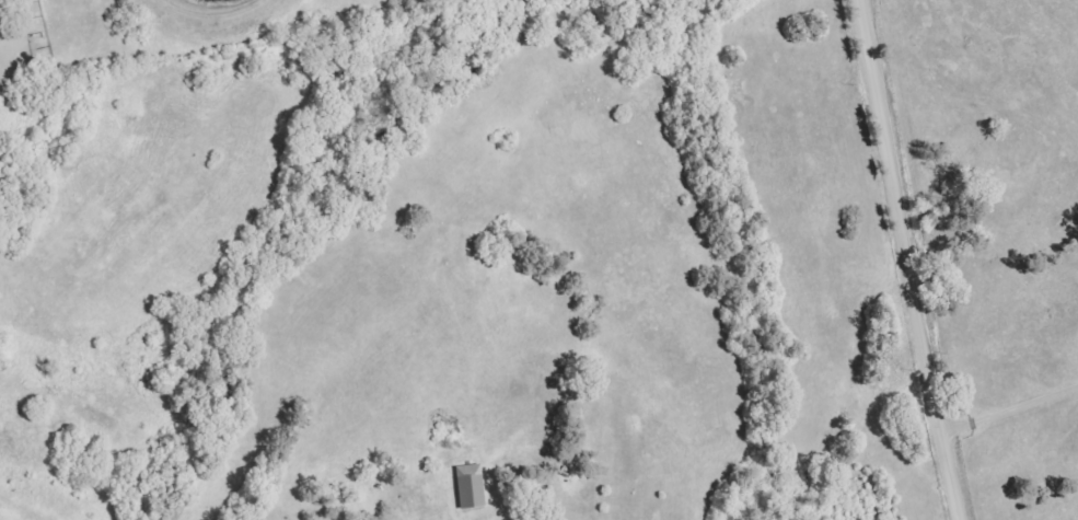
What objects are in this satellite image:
road: (911, 259)
road: (1011, 407)
building: (470, 486)

